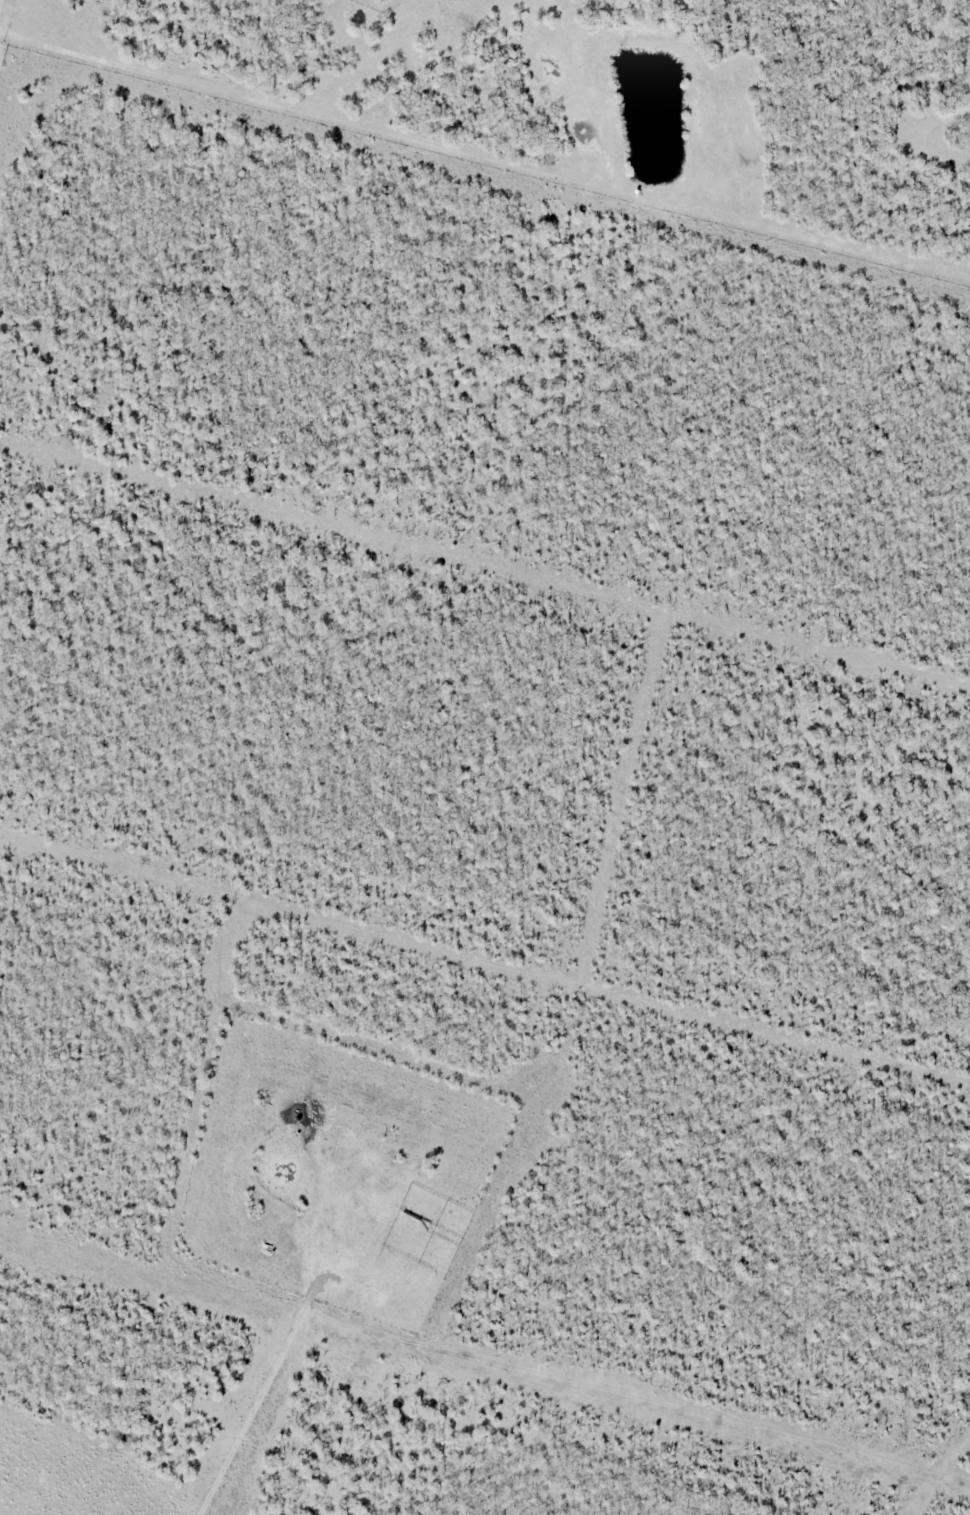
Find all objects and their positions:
building: (268, 1244)

